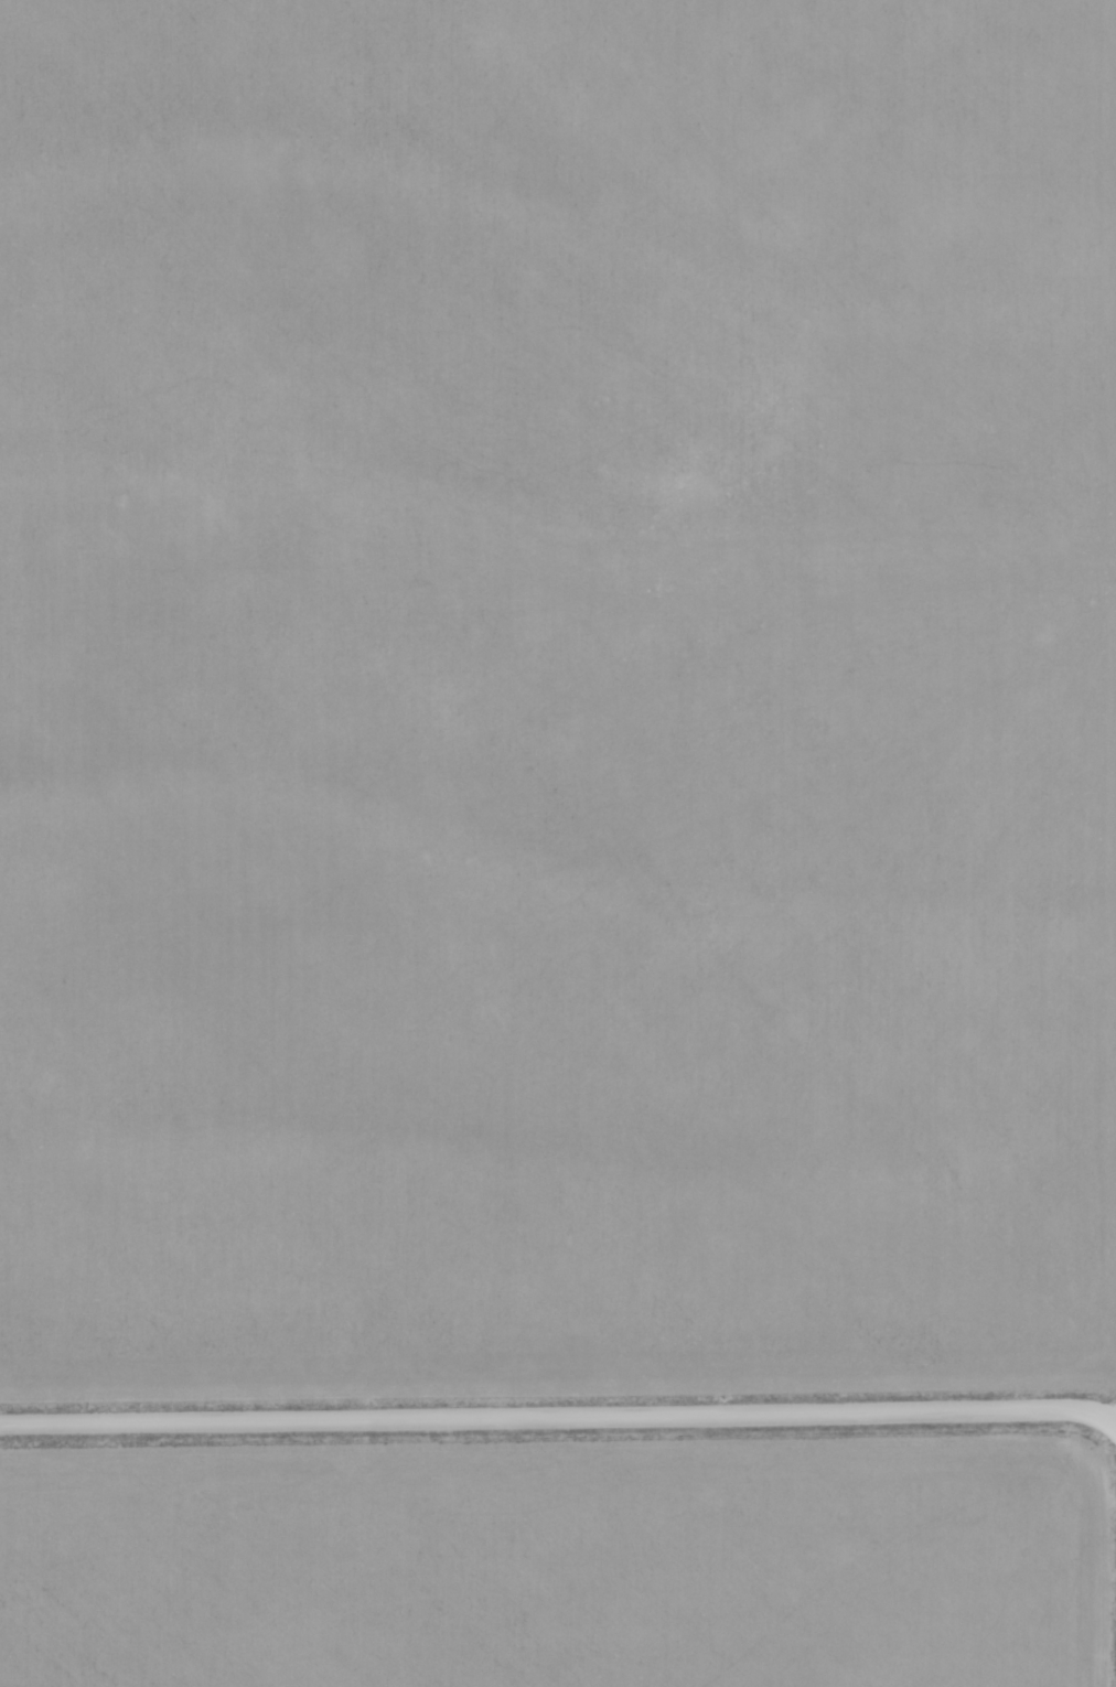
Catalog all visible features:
road: (558, 1425)

